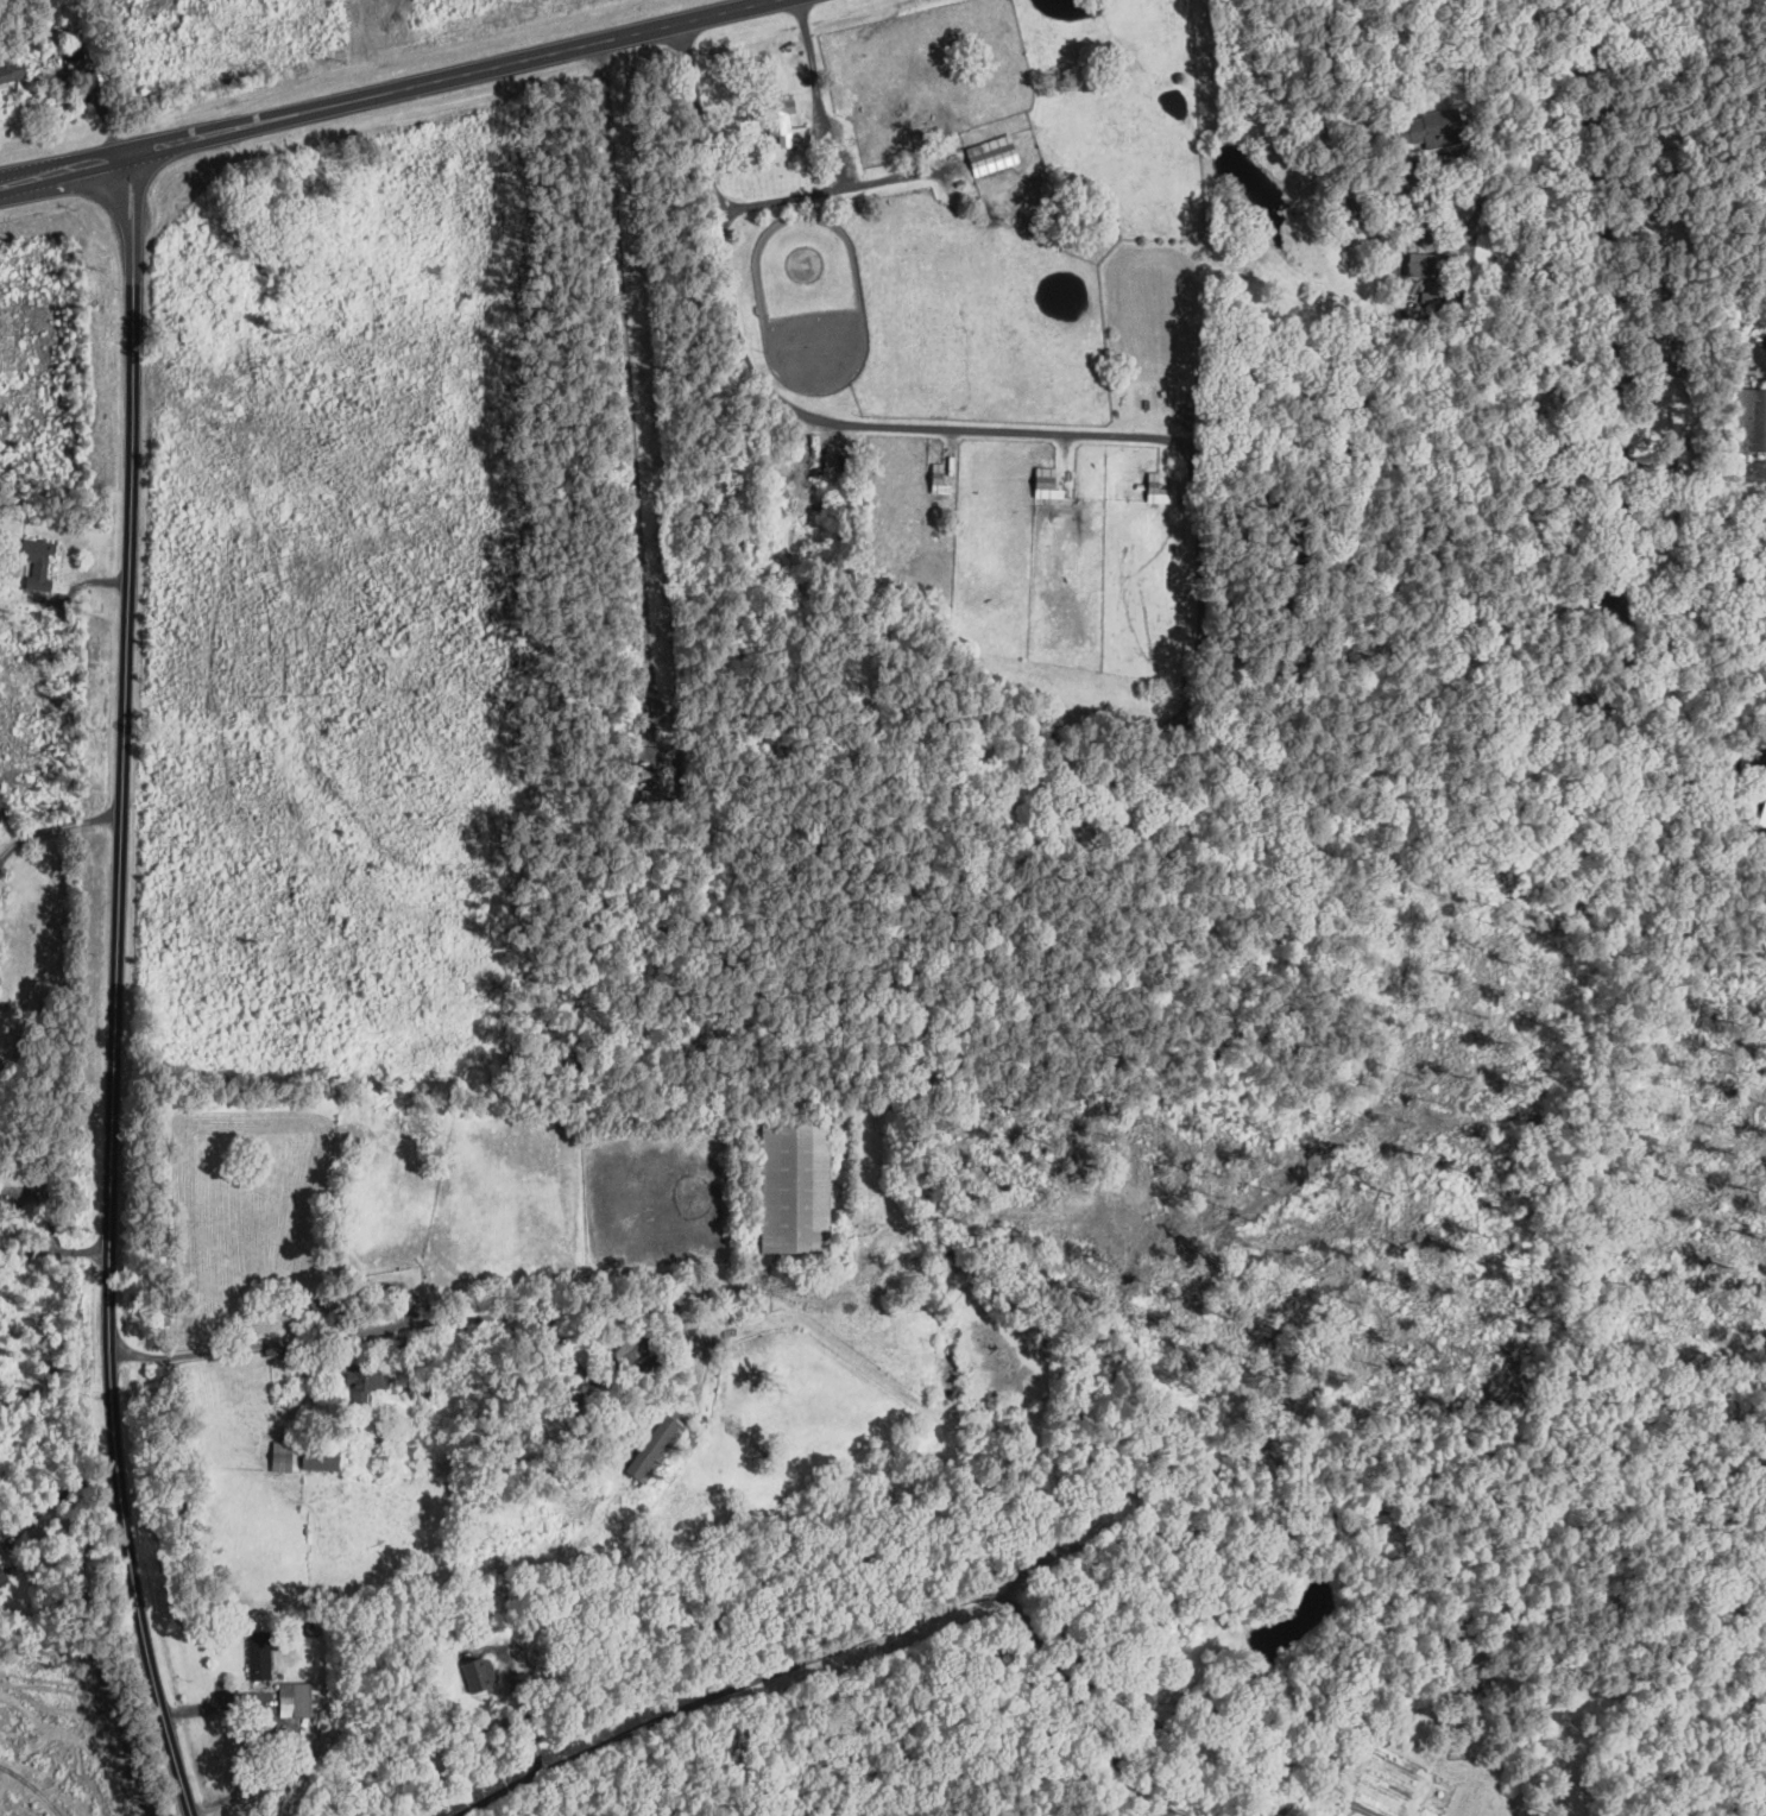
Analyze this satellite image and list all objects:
building: (1644, 59)
building: (13, 70)
road: (416, 82)
road: (100, 107)
building: (1639, 108)
building: (788, 121)
building: (1437, 127)
road: (837, 150)
building: (994, 155)
building: (1645, 159)
road: (36, 175)
road: (137, 203)
road: (122, 207)
building: (1652, 209)
building: (1421, 264)
road: (1603, 334)
road: (627, 383)
building: (1751, 418)
road: (933, 428)
building: (1048, 483)
building: (1160, 490)
building: (38, 563)
road: (1199, 611)
building: (1749, 750)
road: (57, 825)
road: (122, 1041)
building: (796, 1190)
road: (58, 1247)
road: (227, 1345)
building: (631, 1351)
building: (367, 1382)
building: (656, 1445)
building: (283, 1455)
building: (322, 1457)
road: (53, 1502)
road: (1091, 1538)
building: (6, 1571)
road: (1028, 1619)
building: (260, 1660)
building: (481, 1673)
building: (296, 1698)
road: (1109, 1755)

